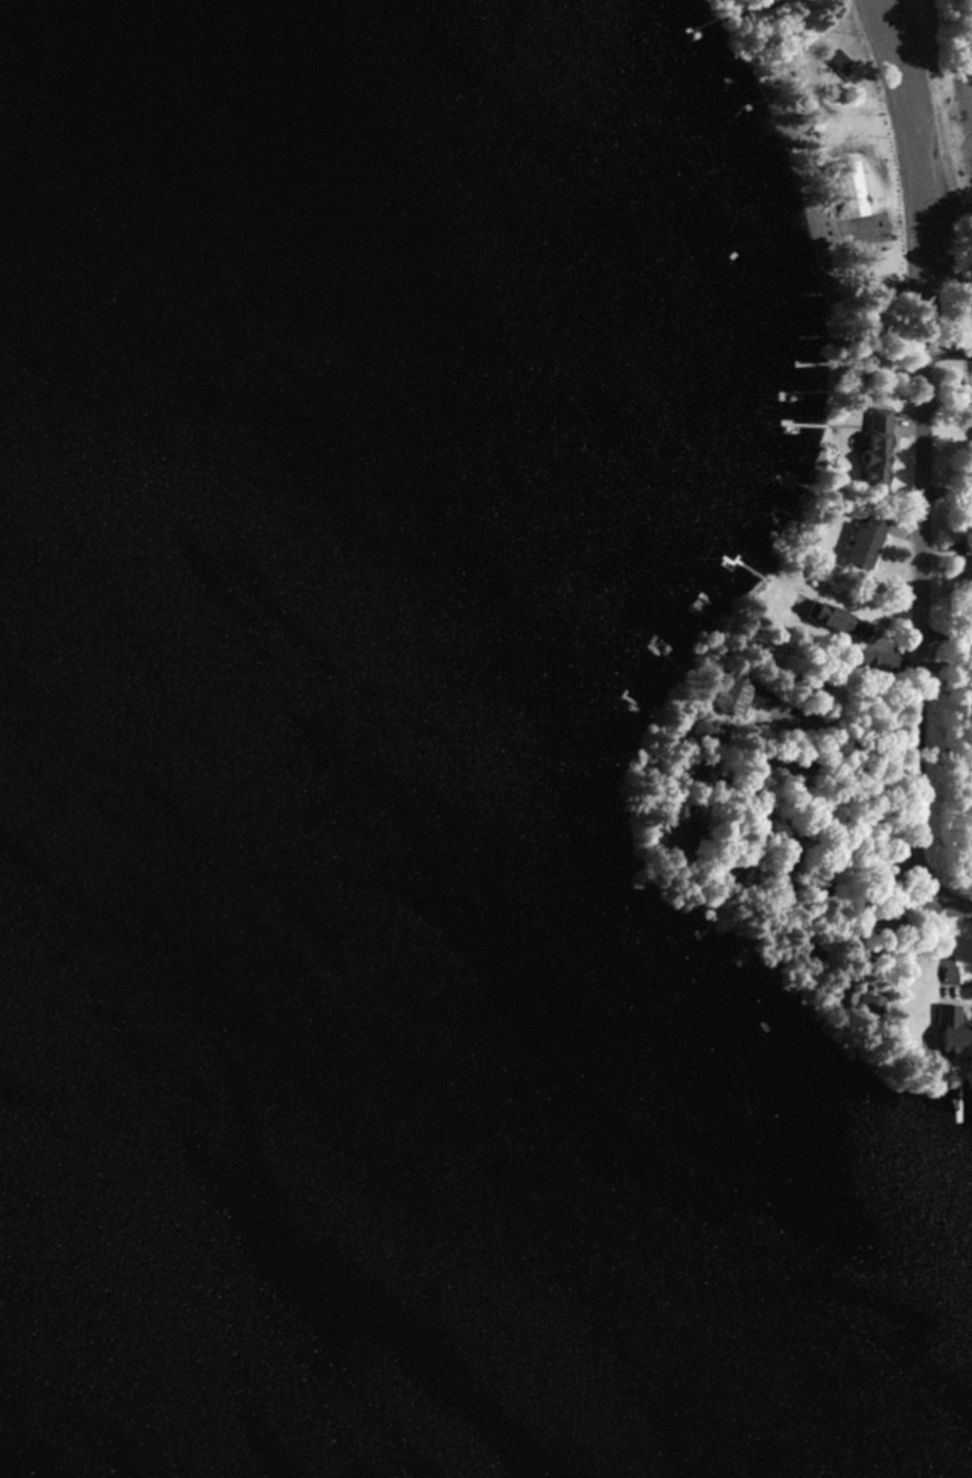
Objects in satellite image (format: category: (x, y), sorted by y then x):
building: (811, 0)
building: (832, 58)
park: (945, 132)
park: (836, 150)
building: (850, 189)
building: (875, 263)
building: (969, 325)
building: (874, 447)
road: (923, 465)
building: (864, 539)
building: (970, 617)
building: (832, 620)
building: (726, 694)
building: (666, 812)
building: (841, 993)
building: (949, 1029)

